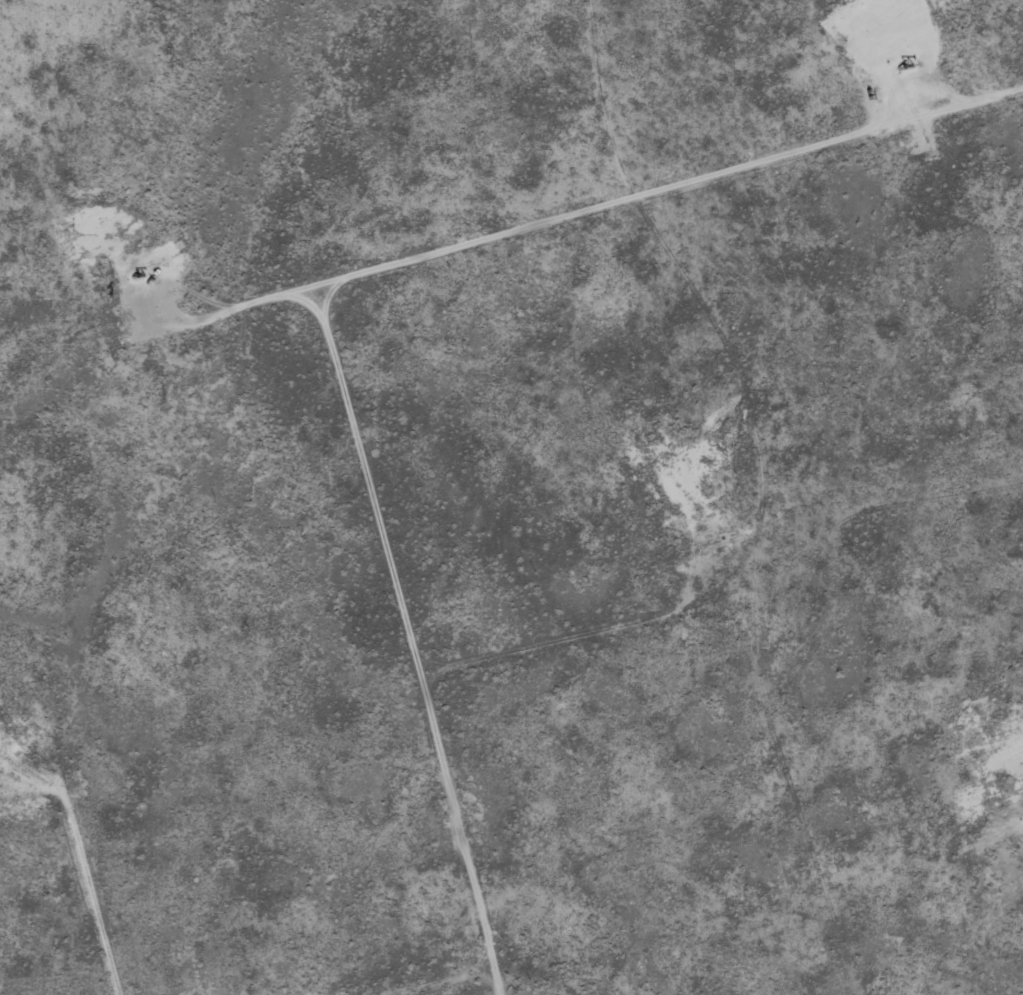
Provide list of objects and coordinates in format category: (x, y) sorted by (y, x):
road: (432, 735)
road: (45, 878)

